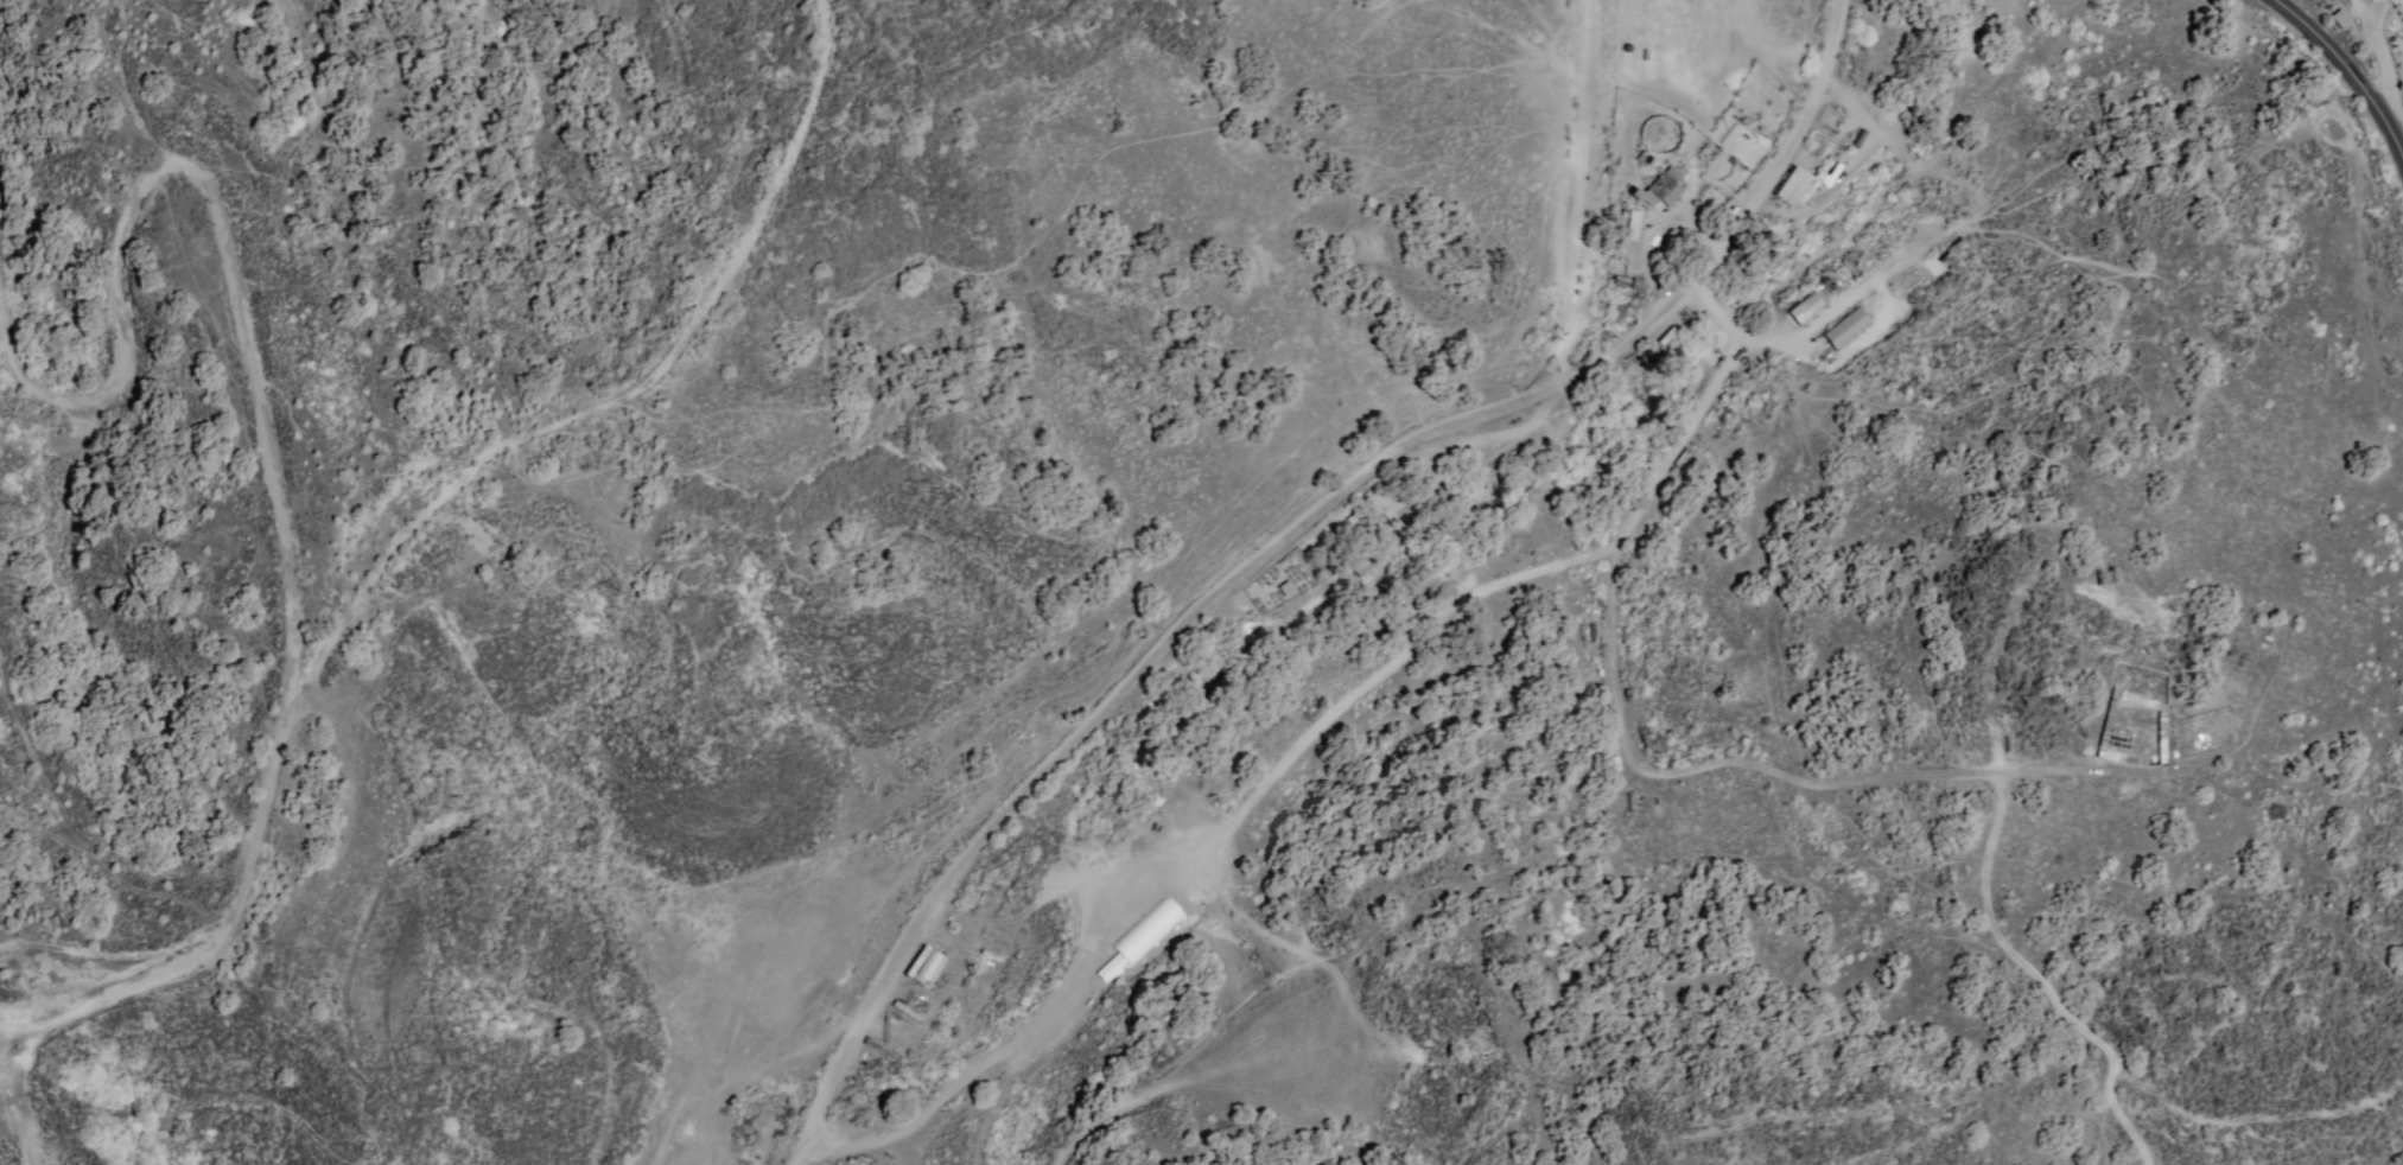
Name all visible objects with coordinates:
road: (2350, 64)
building: (1816, 145)
building: (1792, 186)
building: (1661, 189)
road: (212, 193)
building: (1632, 225)
building: (1628, 284)
building: (1808, 305)
building: (1846, 327)
building: (1753, 415)
road: (456, 439)
road: (1286, 536)
building: (1285, 587)
road: (89, 822)
road: (50, 825)
road: (248, 857)
building: (1145, 929)
road: (301, 930)
building: (924, 963)
road: (596, 1061)
road: (1200, 1086)
road: (821, 1148)

